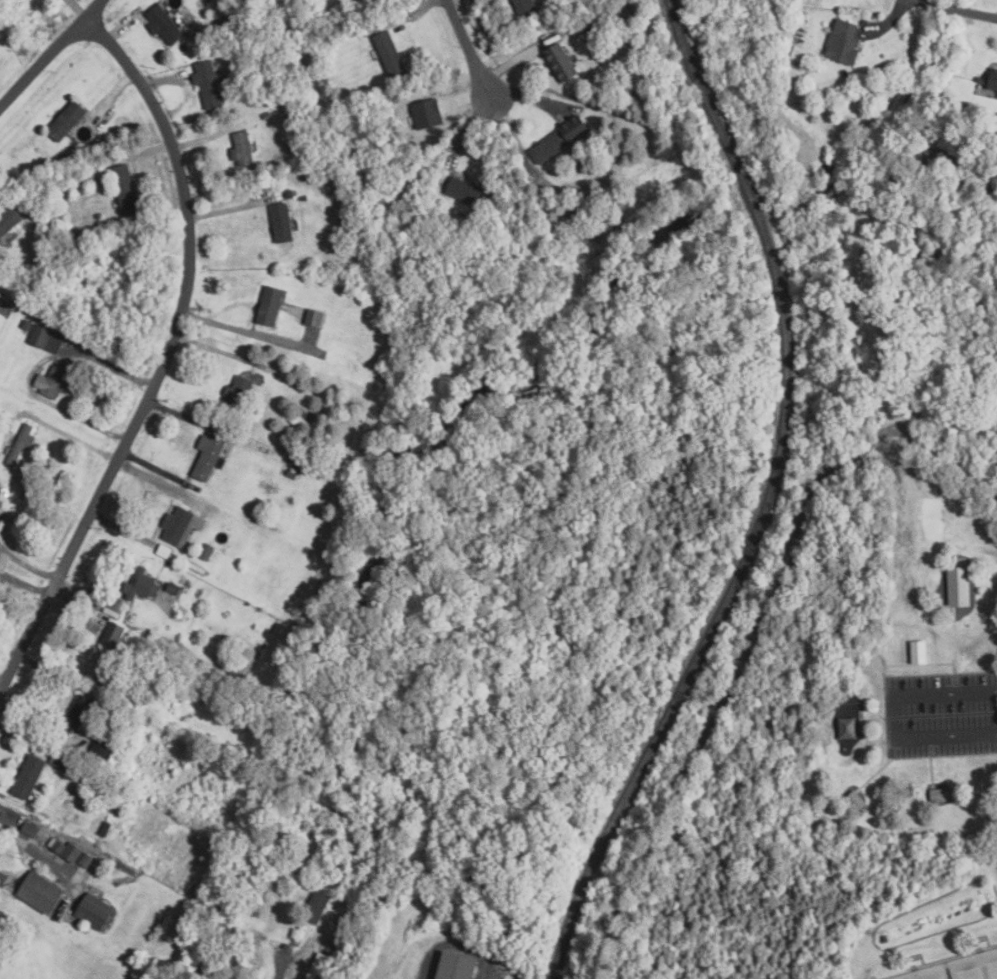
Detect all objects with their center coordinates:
road: (926, 3)
building: (523, 6)
road: (949, 8)
road: (978, 14)
building: (163, 25)
building: (842, 42)
road: (469, 48)
road: (49, 52)
building: (798, 53)
building: (389, 54)
building: (560, 61)
building: (992, 79)
building: (206, 83)
building: (66, 120)
road: (466, 129)
building: (558, 139)
road: (938, 146)
building: (240, 148)
building: (124, 188)
building: (463, 190)
building: (8, 219)
building: (280, 222)
road: (915, 222)
road: (956, 234)
road: (945, 280)
building: (269, 305)
building: (313, 317)
building: (46, 339)
road: (165, 354)
road: (34, 370)
building: (52, 381)
building: (236, 391)
building: (20, 443)
building: (208, 456)
building: (0, 486)
railway: (767, 501)
park: (934, 518)
building: (180, 526)
road: (972, 547)
road: (28, 565)
building: (140, 585)
building: (957, 586)
park: (761, 625)
road: (751, 639)
building: (104, 647)
road: (956, 649)
building: (914, 654)
building: (77, 712)
parking lot: (939, 713)
road: (893, 717)
road: (878, 719)
building: (101, 748)
building: (57, 762)
road: (930, 763)
road: (882, 769)
building: (28, 776)
building: (937, 795)
building: (856, 802)
building: (29, 828)
building: (66, 849)
building: (85, 860)
building: (39, 892)
building: (316, 906)
building: (93, 911)
road: (929, 945)
park: (975, 965)
building: (455, 966)
park: (927, 973)

